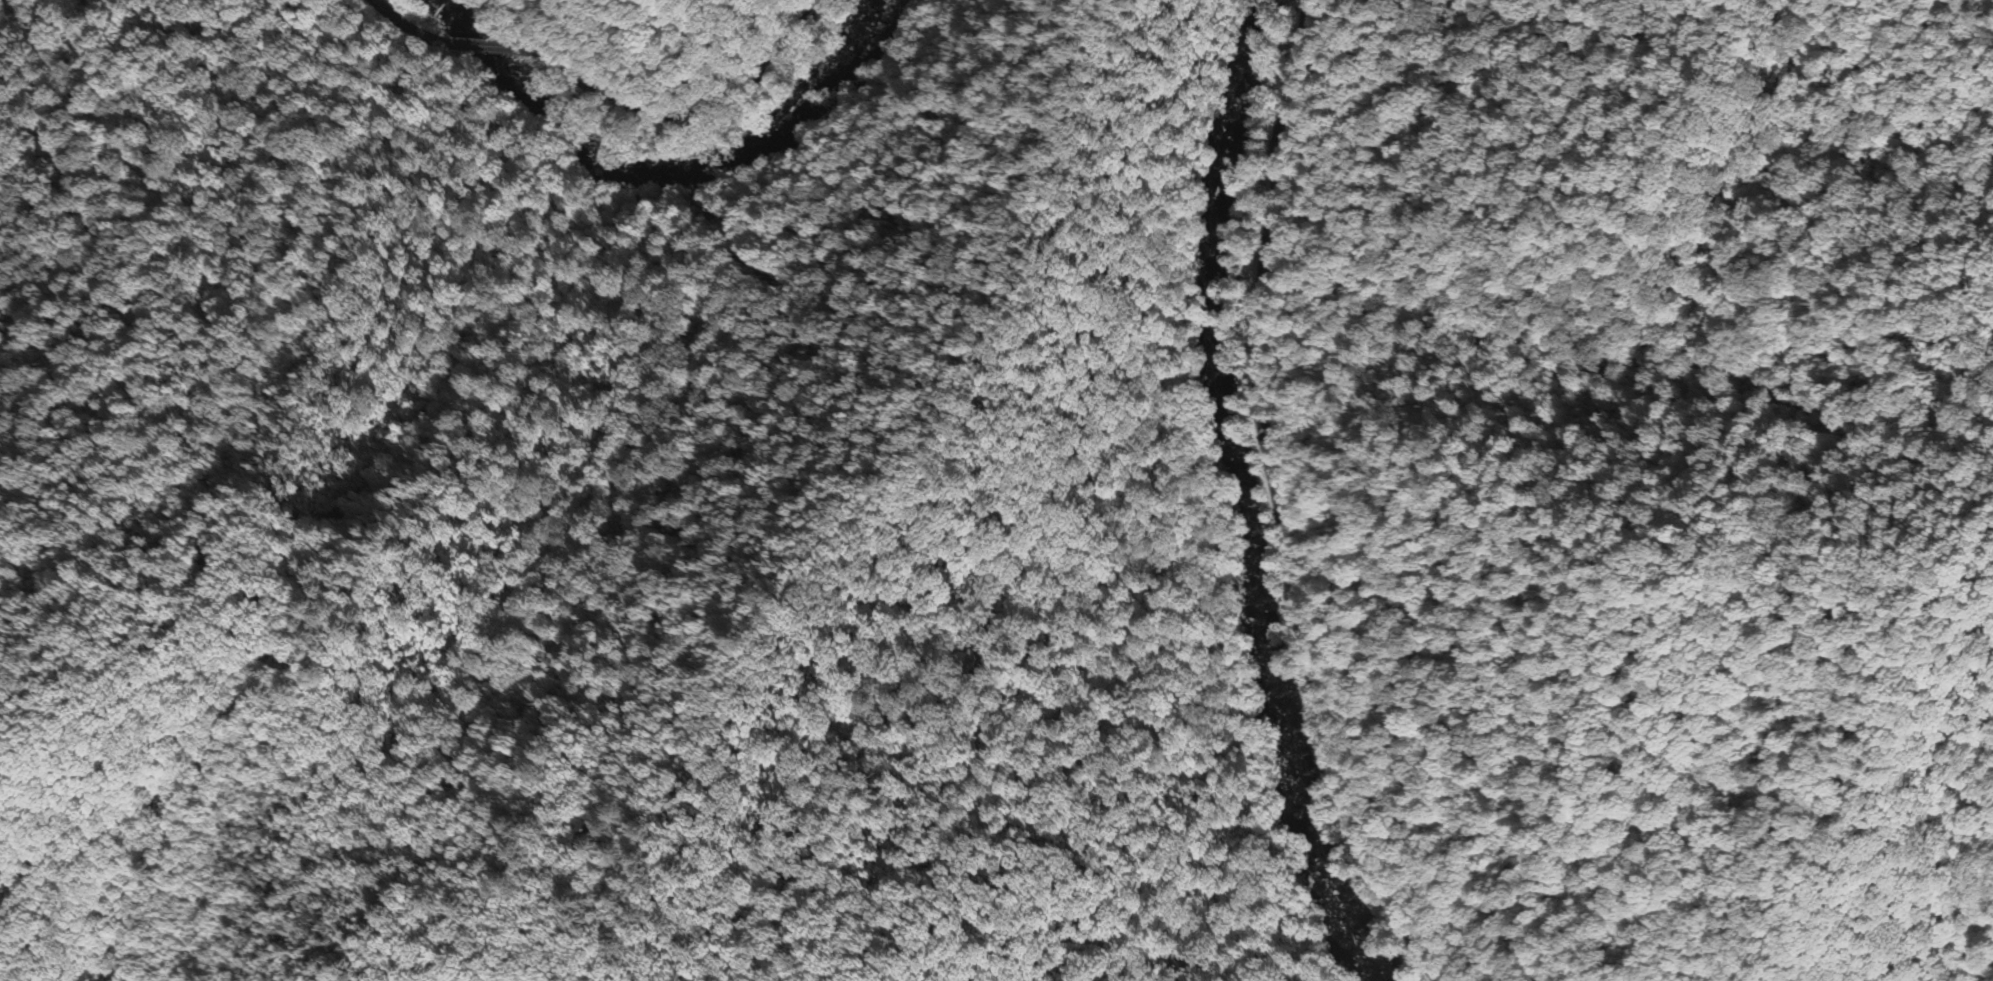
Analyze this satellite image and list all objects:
road: (399, 22)
road: (488, 46)
river: (524, 92)
road: (698, 112)
river: (778, 125)
river: (1243, 126)
road: (1276, 502)
river: (1262, 632)

